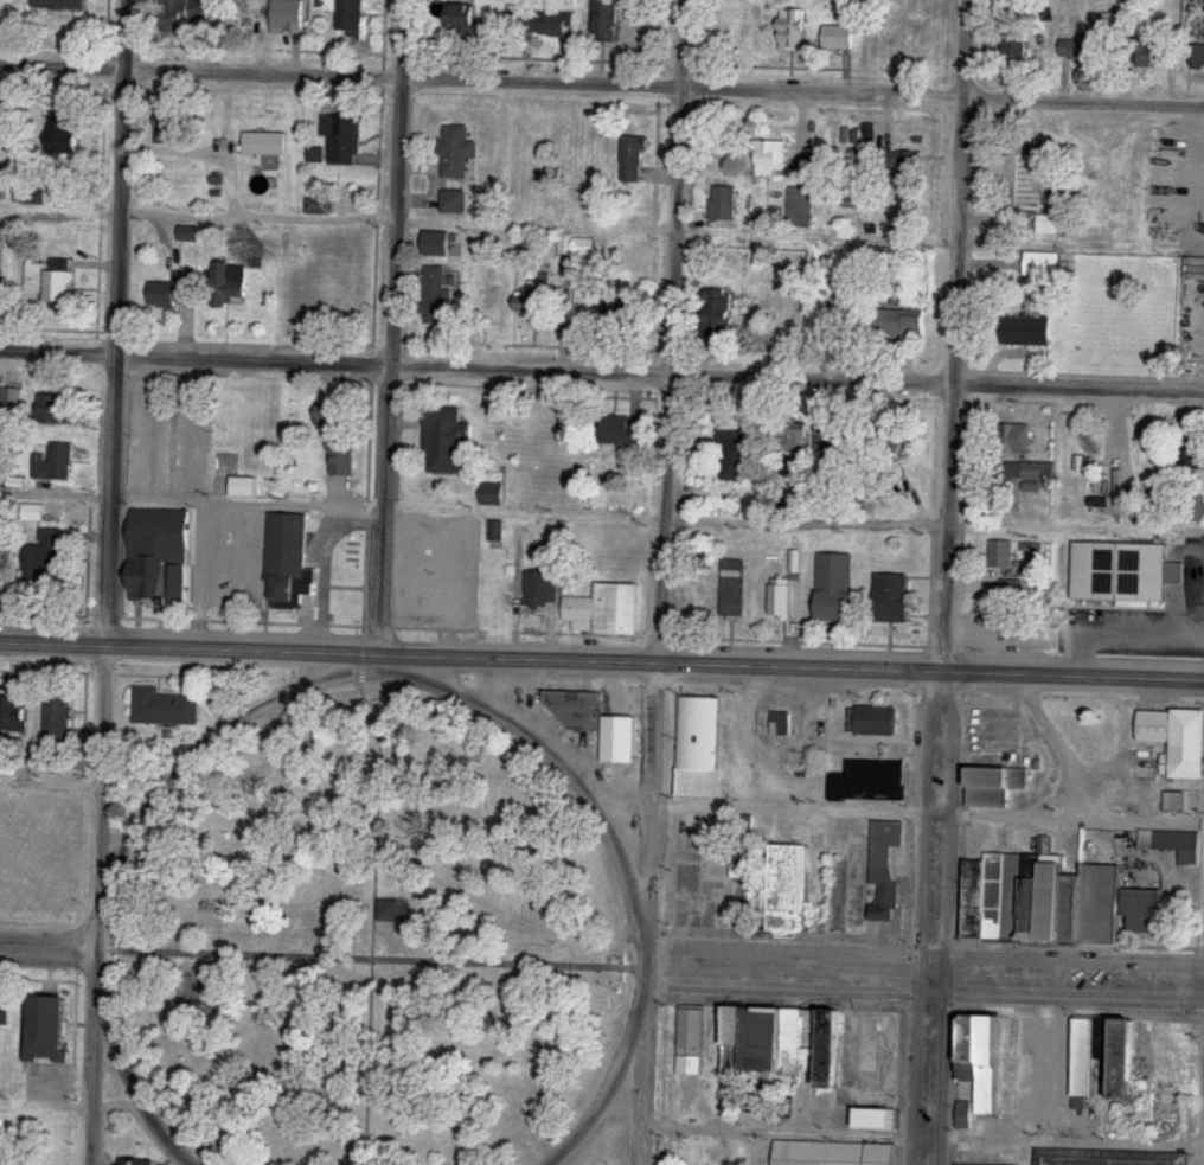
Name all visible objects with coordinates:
building: (60, 5)
building: (181, 14)
building: (287, 15)
building: (351, 18)
building: (463, 18)
building: (239, 19)
building: (607, 20)
building: (547, 24)
building: (794, 28)
building: (838, 37)
road: (402, 39)
building: (1016, 50)
building: (1078, 51)
building: (1197, 56)
building: (1146, 57)
road: (602, 83)
building: (168, 129)
building: (866, 134)
building: (66, 137)
building: (341, 139)
building: (265, 143)
building: (456, 151)
building: (632, 158)
building: (902, 161)
building: (767, 166)
building: (802, 167)
building: (1023, 174)
building: (1197, 177)
road: (675, 185)
road: (961, 190)
building: (34, 196)
building: (453, 203)
building: (438, 244)
building: (576, 247)
building: (1043, 265)
building: (228, 284)
building: (57, 286)
building: (174, 292)
building: (436, 297)
building: (4, 300)
building: (531, 303)
building: (621, 313)
building: (719, 313)
road: (119, 321)
building: (897, 324)
building: (1029, 332)
building: (820, 335)
road: (601, 370)
road: (391, 375)
building: (11, 401)
building: (56, 410)
building: (329, 422)
building: (621, 430)
building: (795, 435)
building: (827, 436)
building: (1017, 439)
building: (901, 440)
building: (446, 441)
building: (1120, 446)
building: (730, 457)
building: (1191, 457)
building: (55, 463)
building: (1038, 472)
building: (256, 487)
building: (493, 494)
road: (201, 526)
building: (495, 531)
building: (158, 555)
building: (286, 556)
building: (45, 557)
road: (321, 557)
building: (1001, 557)
parking lot: (435, 574)
building: (1, 576)
building: (1123, 577)
building: (730, 590)
building: (832, 590)
building: (538, 593)
building: (780, 600)
building: (889, 600)
building: (603, 613)
road: (601, 660)
road: (384, 673)
road: (657, 684)
building: (161, 709)
building: (584, 710)
building: (13, 711)
building: (781, 717)
building: (58, 718)
building: (871, 721)
building: (813, 734)
building: (1176, 741)
road: (1059, 744)
building: (696, 749)
road: (935, 772)
building: (870, 781)
building: (992, 788)
road: (929, 807)
building: (1171, 845)
building: (883, 851)
building: (742, 889)
building: (788, 889)
building: (1020, 898)
building: (984, 900)
road: (371, 903)
road: (98, 904)
building: (1058, 905)
building: (1097, 905)
building: (1142, 911)
building: (393, 913)
park: (367, 942)
road: (49, 947)
road: (369, 961)
road: (787, 969)
road: (1068, 977)
building: (5, 1012)
building: (49, 1030)
building: (689, 1044)
building: (766, 1044)
building: (833, 1051)
building: (1083, 1060)
building: (1121, 1063)
building: (987, 1065)
road: (129, 1081)
road: (641, 1081)
road: (607, 1087)
building: (963, 1115)
building: (877, 1120)
building: (819, 1154)
building: (883, 1156)
building: (1104, 1158)
building: (139, 1164)
building: (952, 1164)

